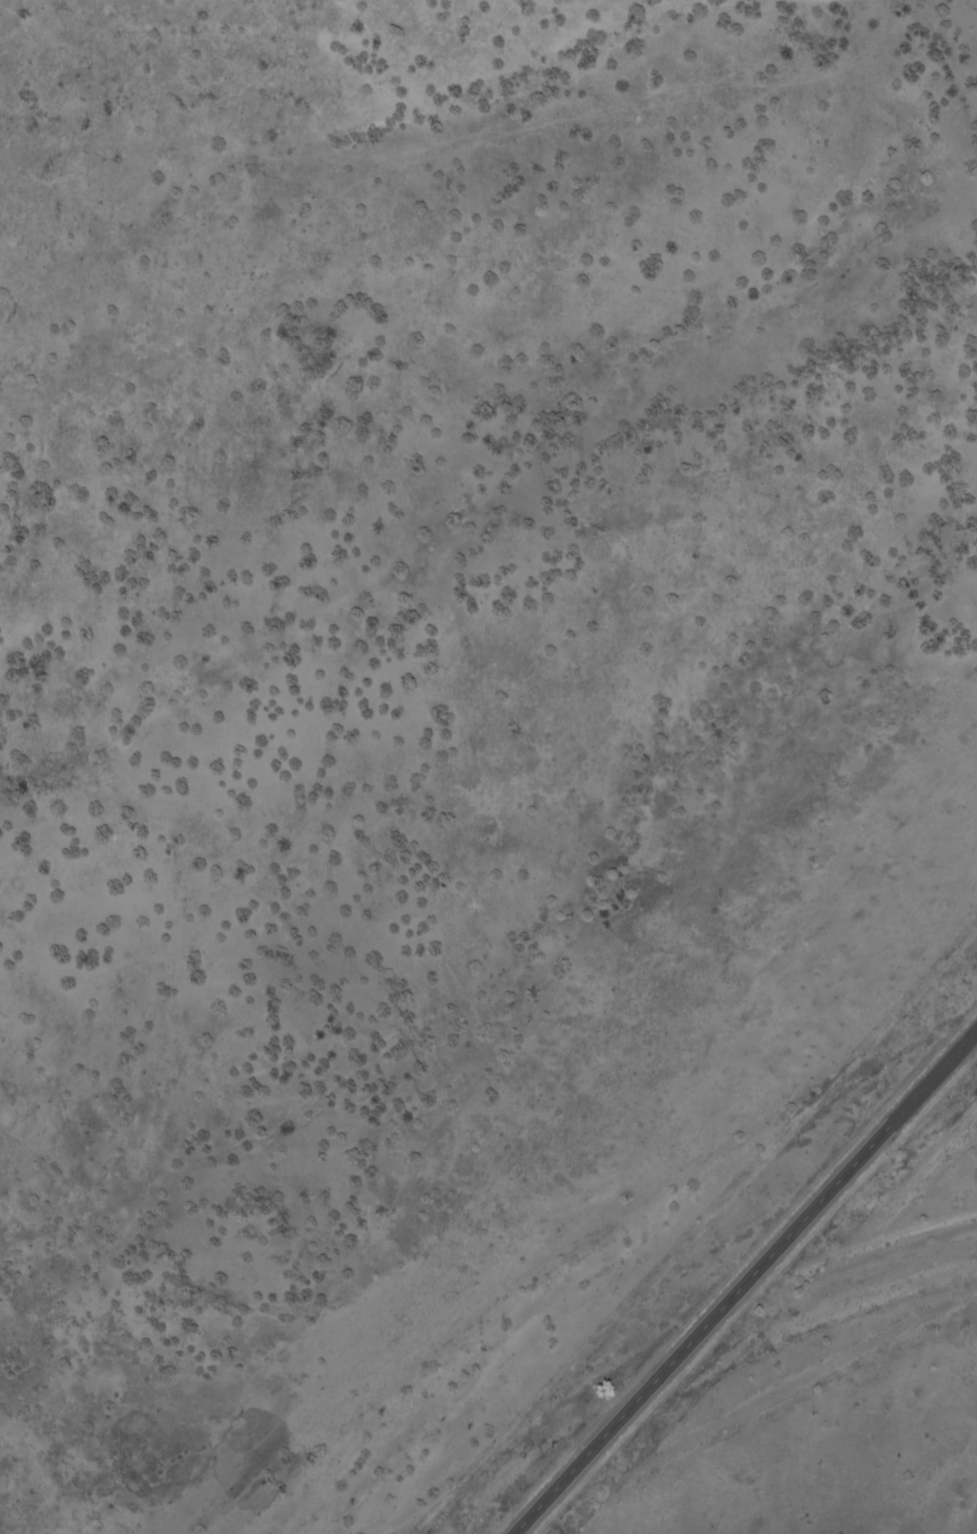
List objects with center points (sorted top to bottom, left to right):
road: (745, 1281)

